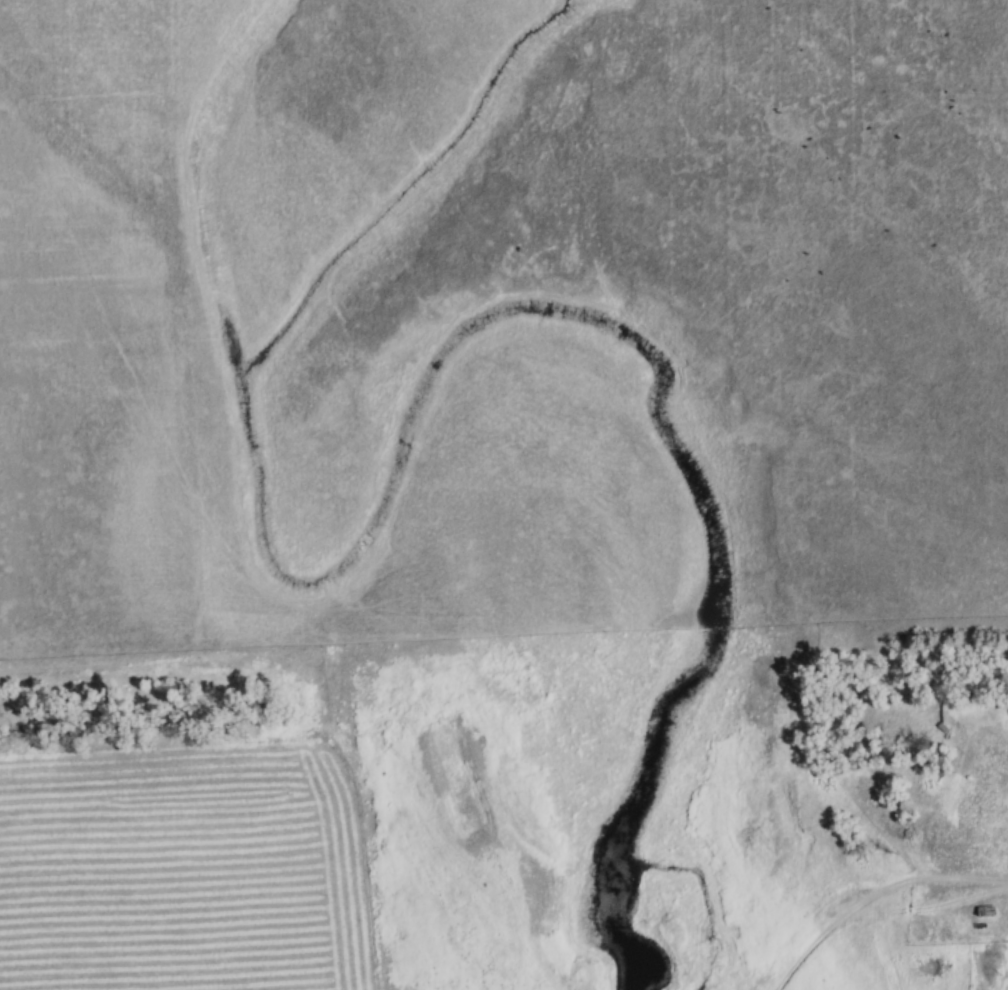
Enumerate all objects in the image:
road: (992, 877)

